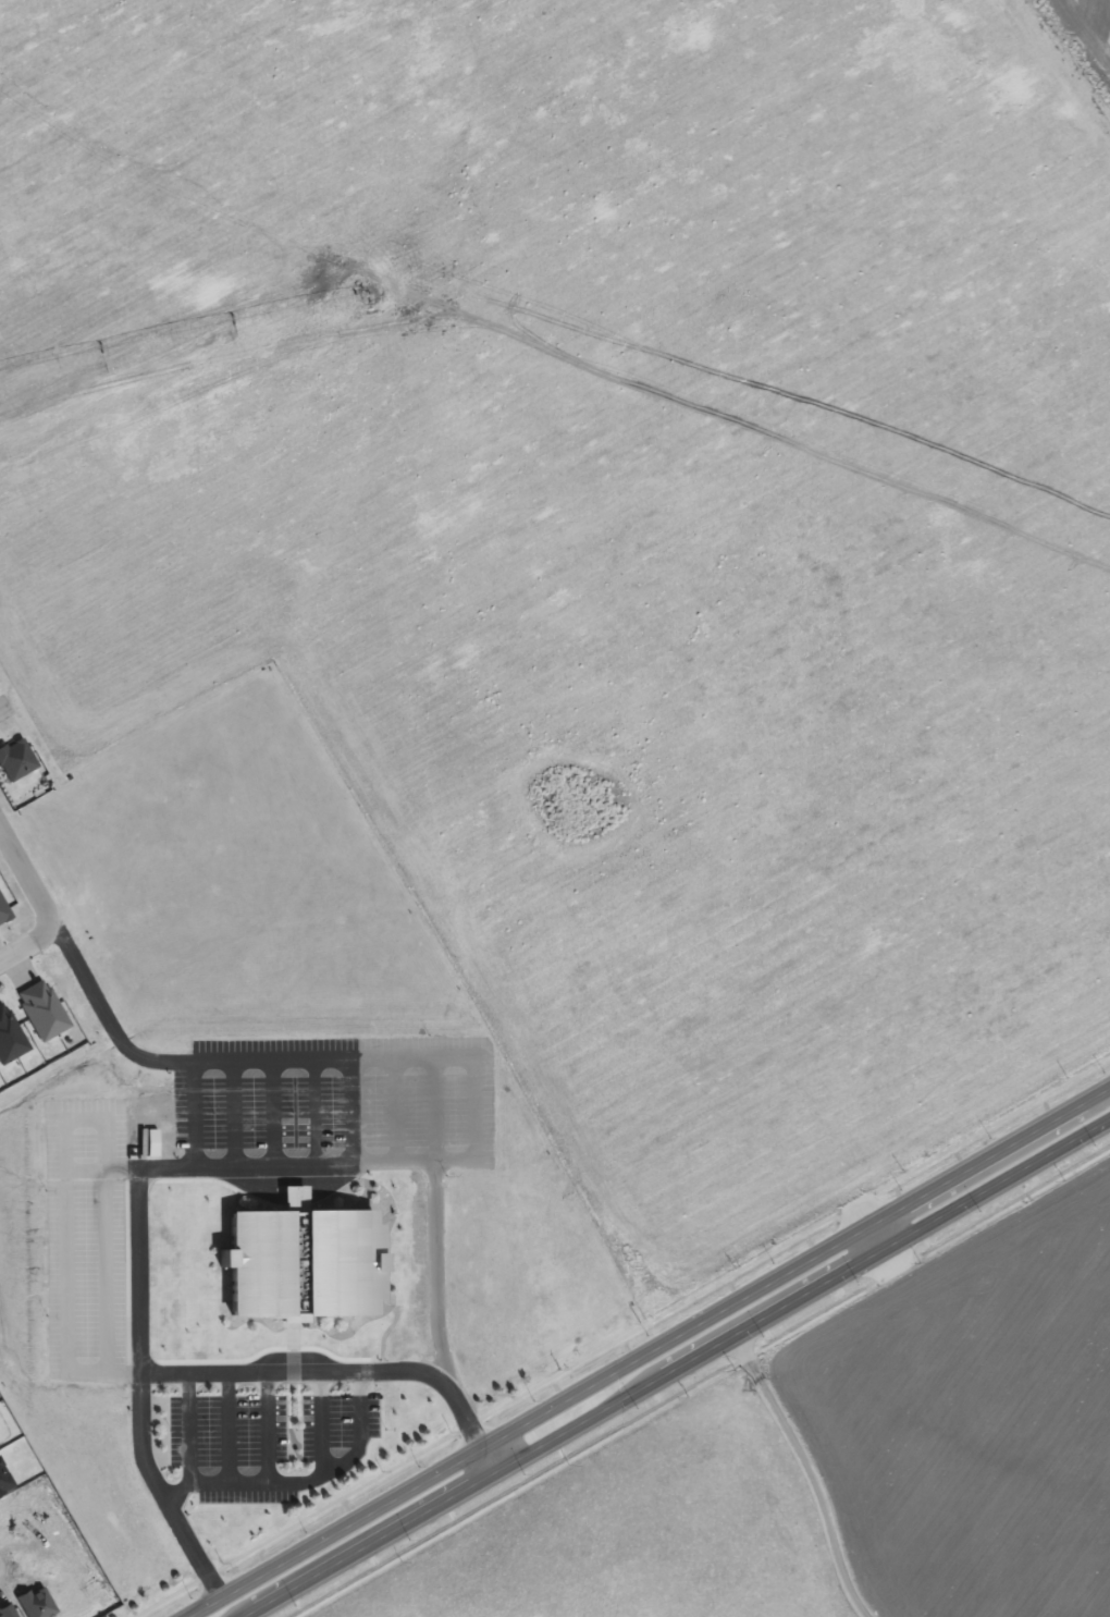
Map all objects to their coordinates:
road: (4, 706)
road: (41, 906)
building: (3, 914)
building: (41, 1009)
building: (10, 1037)
road: (473, 1066)
road: (395, 1110)
road: (316, 1111)
road: (355, 1111)
road: (272, 1112)
road: (192, 1113)
road: (233, 1113)
road: (434, 1222)
road: (876, 1237)
building: (303, 1261)
road: (66, 1326)
road: (621, 1336)
road: (649, 1351)
road: (676, 1367)
road: (703, 1383)
road: (140, 1393)
road: (320, 1421)
road: (188, 1426)
road: (226, 1426)
road: (268, 1426)
road: (486, 1460)
road: (812, 1471)
road: (303, 1481)
building: (7, 1609)

